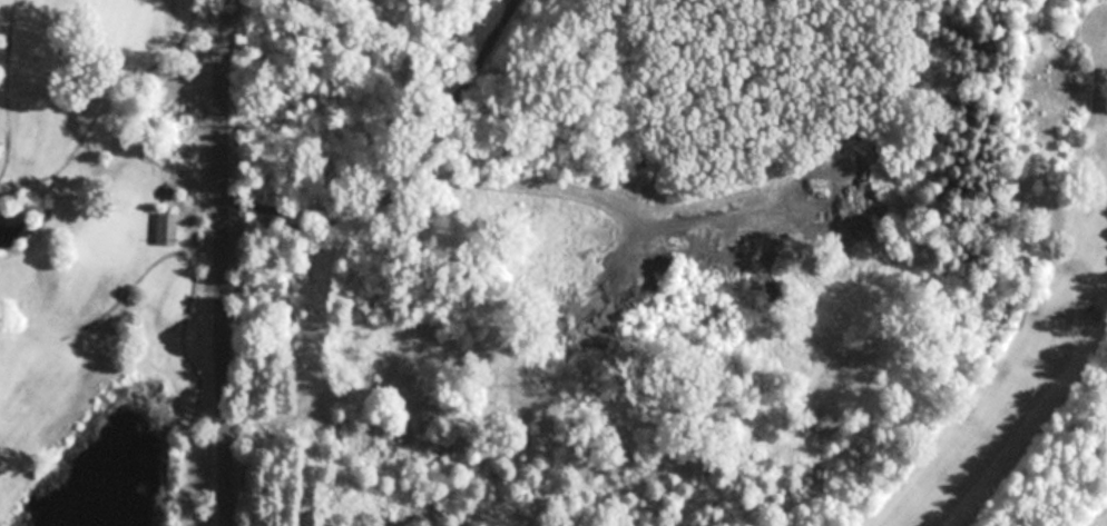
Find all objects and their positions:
building: (158, 228)
road: (224, 261)
park: (96, 264)
park: (982, 351)

